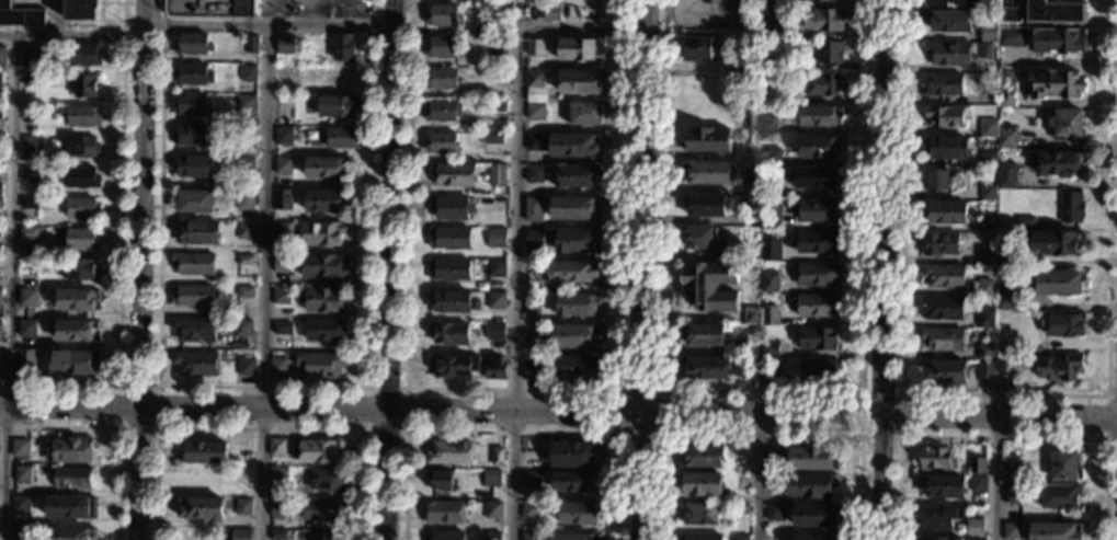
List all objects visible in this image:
building: (819, 0)
building: (969, 4)
building: (210, 8)
building: (514, 9)
building: (82, 10)
road: (269, 12)
road: (307, 12)
road: (344, 12)
building: (550, 12)
building: (1055, 12)
building: (443, 15)
building: (1010, 15)
building: (20, 16)
building: (783, 16)
parking lot: (312, 18)
building: (820, 20)
building: (949, 21)
road: (327, 25)
building: (480, 31)
building: (768, 31)
building: (988, 33)
road: (72, 35)
building: (1012, 37)
building: (1058, 42)
building: (192, 45)
building: (251, 45)
building: (287, 45)
building: (497, 45)
building: (442, 47)
building: (534, 47)
building: (696, 48)
building: (343, 49)
building: (578, 50)
building: (985, 50)
building: (829, 53)
building: (949, 54)
building: (82, 55)
building: (2, 56)
building: (30, 56)
building: (739, 68)
building: (285, 72)
building: (248, 73)
building: (193, 74)
building: (498, 74)
building: (341, 77)
building: (441, 79)
building: (534, 79)
building: (30, 80)
building: (757, 80)
building: (580, 81)
building: (0, 82)
building: (822, 84)
building: (1056, 84)
building: (943, 85)
building: (83, 87)
building: (1006, 94)
building: (191, 105)
building: (246, 105)
building: (337, 106)
building: (497, 106)
building: (0, 111)
building: (29, 111)
building: (443, 111)
building: (534, 112)
building: (584, 114)
building: (83, 116)
building: (818, 116)
building: (945, 116)
building: (1065, 124)
building: (766, 126)
building: (988, 128)
building: (246, 135)
building: (192, 136)
building: (283, 136)
building: (341, 138)
building: (1006, 138)
building: (490, 139)
building: (707, 140)
building: (533, 142)
building: (441, 143)
building: (31, 146)
building: (573, 146)
building: (819, 147)
building: (81, 148)
building: (946, 148)
building: (771, 157)
building: (987, 160)
building: (1060, 163)
building: (246, 165)
building: (194, 166)
building: (283, 166)
building: (326, 168)
building: (707, 172)
building: (30, 174)
building: (453, 174)
building: (534, 174)
building: (495, 175)
building: (575, 176)
building: (1006, 176)
building: (81, 177)
building: (817, 179)
building: (936, 181)
building: (754, 182)
building: (771, 187)
building: (0, 188)
building: (988, 193)
building: (283, 199)
building: (244, 200)
building: (326, 200)
building: (195, 202)
building: (1, 204)
building: (29, 204)
building: (704, 204)
building: (452, 207)
building: (1072, 207)
building: (82, 208)
building: (572, 208)
building: (533, 209)
building: (816, 211)
building: (946, 212)
road: (517, 216)
building: (771, 217)
road: (262, 221)
building: (1025, 222)
building: (987, 225)
building: (244, 230)
building: (198, 232)
building: (282, 232)
building: (322, 233)
building: (27, 234)
building: (448, 238)
building: (495, 238)
building: (533, 238)
building: (699, 238)
building: (80, 239)
building: (575, 241)
building: (814, 241)
building: (1057, 242)
building: (939, 244)
building: (771, 249)
road: (121, 252)
building: (987, 255)
building: (244, 260)
building: (1005, 260)
building: (0, 263)
building: (282, 263)
building: (194, 264)
building: (323, 266)
road: (140, 269)
road: (386, 269)
building: (448, 269)
building: (495, 269)
road: (645, 269)
road: (880, 269)
building: (80, 271)
building: (573, 272)
building: (818, 275)
building: (944, 276)
building: (770, 283)
building: (1060, 284)
road: (5, 287)
building: (709, 287)
building: (987, 287)
building: (244, 292)
building: (282, 295)
building: (193, 296)
building: (0, 297)
building: (26, 298)
building: (1005, 298)
building: (76, 299)
building: (323, 300)
building: (495, 300)
building: (452, 301)
building: (531, 305)
building: (577, 305)
building: (817, 306)
building: (942, 308)
building: (752, 315)
building: (768, 315)
building: (985, 318)
building: (999, 324)
building: (1063, 324)
building: (242, 328)
building: (26, 329)
building: (283, 329)
building: (194, 330)
building: (76, 331)
building: (326, 331)
building: (494, 332)
building: (449, 333)
building: (703, 334)
building: (572, 336)
building: (816, 338)
building: (943, 340)
building: (750, 347)
building: (770, 348)
building: (985, 352)
building: (0, 361)
building: (25, 361)
building: (73, 361)
building: (195, 364)
building: (320, 365)
building: (453, 366)
building: (1059, 366)
building: (246, 367)
building: (277, 367)
building: (750, 367)
building: (494, 368)
building: (577, 368)
building: (706, 368)
building: (770, 369)
building: (818, 369)
building: (984, 369)
building: (532, 371)
building: (946, 371)
road: (263, 387)
road: (367, 387)
road: (514, 388)
road: (658, 393)
road: (760, 394)
road: (1002, 394)
road: (1112, 395)
road: (558, 414)
road: (1106, 416)
road: (115, 427)
road: (158, 427)
road: (261, 429)
road: (511, 432)
road: (897, 436)
road: (757, 437)
road: (1001, 437)
building: (20, 448)
building: (277, 448)
building: (68, 450)
building: (318, 451)
building: (204, 452)
building: (449, 453)
building: (572, 455)
building: (702, 456)
building: (497, 457)
building: (740, 459)
building: (811, 459)
building: (936, 459)
building: (775, 460)
building: (977, 466)
building: (1065, 466)
building: (1012, 471)
building: (278, 472)
building: (22, 474)
road: (756, 478)
road: (993, 478)
building: (72, 479)
building: (491, 479)
building: (328, 480)
building: (529, 480)
building: (442, 481)
building: (573, 482)
building: (741, 482)
building: (775, 483)
building: (978, 483)
building: (700, 484)
building: (810, 485)
building: (943, 486)
building: (1013, 494)
building: (1060, 496)
building: (20, 504)
building: (71, 507)
building: (243, 507)
building: (278, 507)
building: (202, 508)
building: (322, 509)
building: (740, 509)
building: (492, 510)
building: (529, 510)
building: (774, 512)
building: (443, 513)
building: (578, 514)
building: (698, 514)
building: (813, 516)
building: (941, 517)
building: (973, 527)
building: (1012, 531)
building: (1055, 531)
building: (20, 532)
building: (70, 533)
building: (239, 535)
building: (278, 535)
building: (329, 535)
building: (447, 536)
building: (492, 536)
building: (529, 536)
building: (571, 537)
building: (703, 537)
building: (739, 537)
building: (813, 538)
building: (941, 539)
building: (977, 539)

